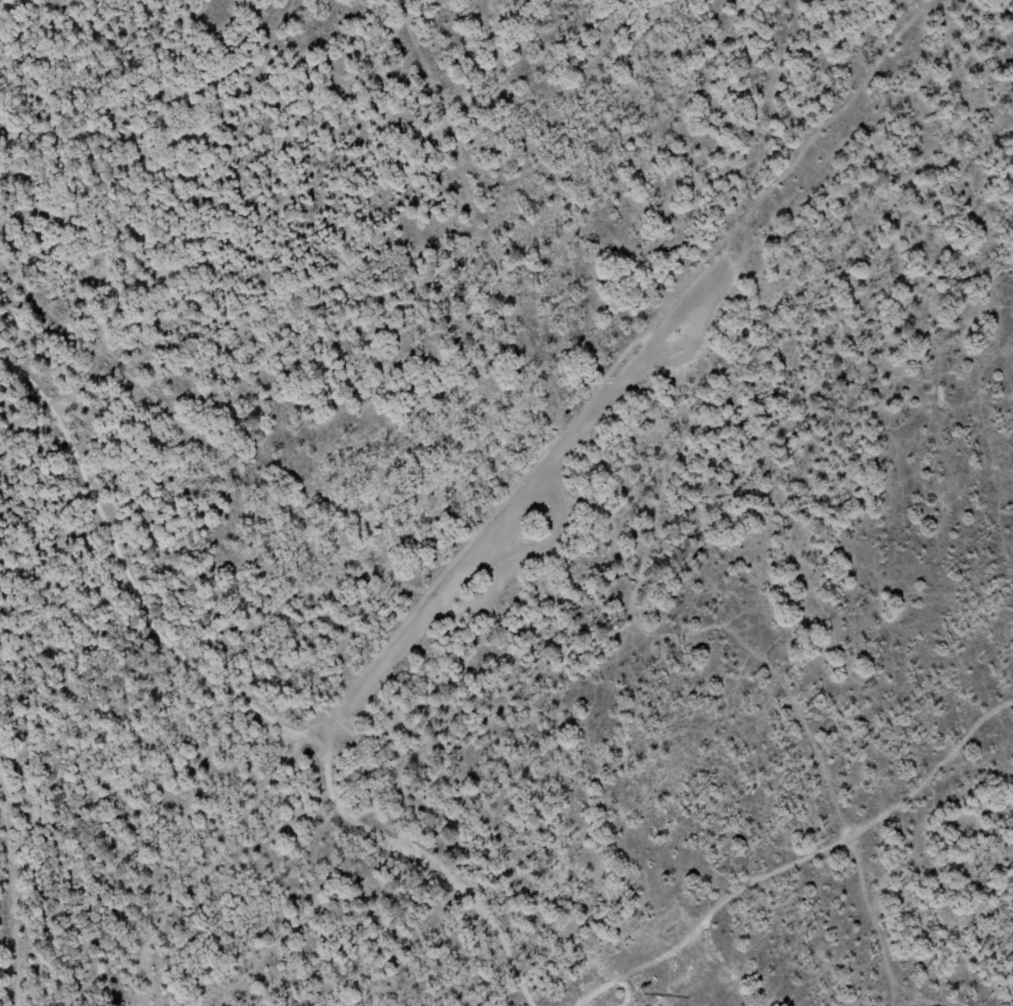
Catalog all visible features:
road: (267, 684)

